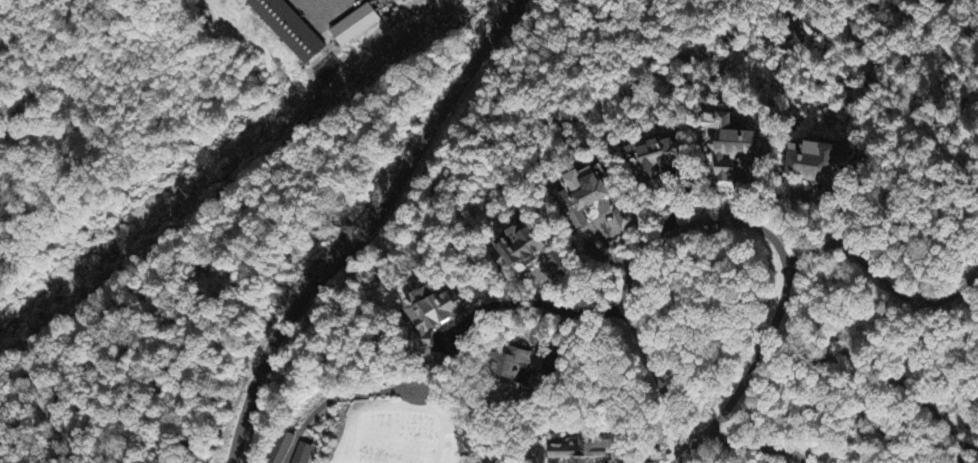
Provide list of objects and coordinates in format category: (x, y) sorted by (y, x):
building: (355, 27)
building: (288, 29)
building: (733, 147)
building: (655, 162)
building: (815, 162)
building: (588, 199)
road: (725, 222)
road: (366, 228)
building: (527, 251)
building: (432, 317)
building: (513, 366)
park: (370, 423)
building: (282, 448)
building: (586, 452)
building: (301, 454)
road: (681, 459)
building: (831, 461)

